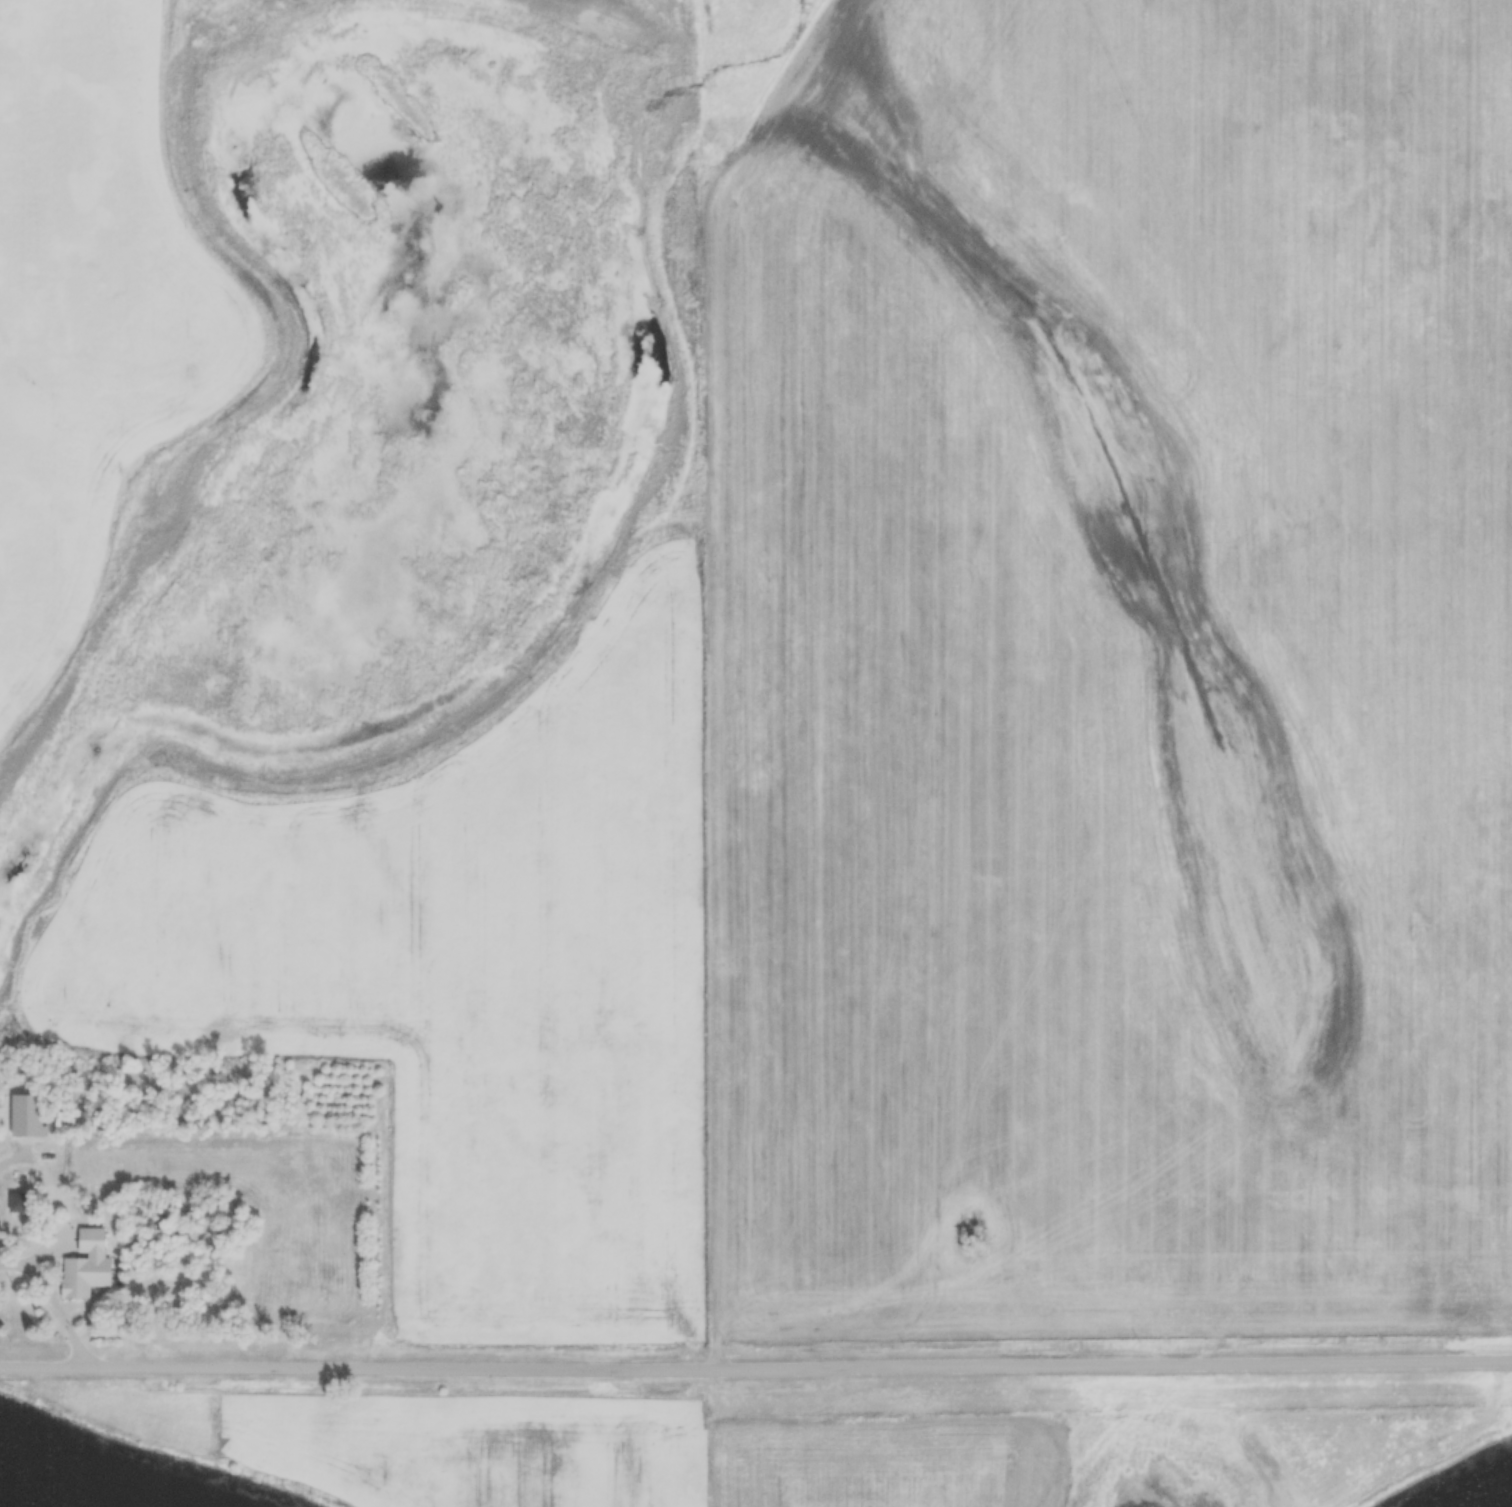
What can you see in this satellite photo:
building: (19, 1204)
building: (70, 1237)
building: (78, 1283)
road: (56, 1301)
road: (758, 1372)

